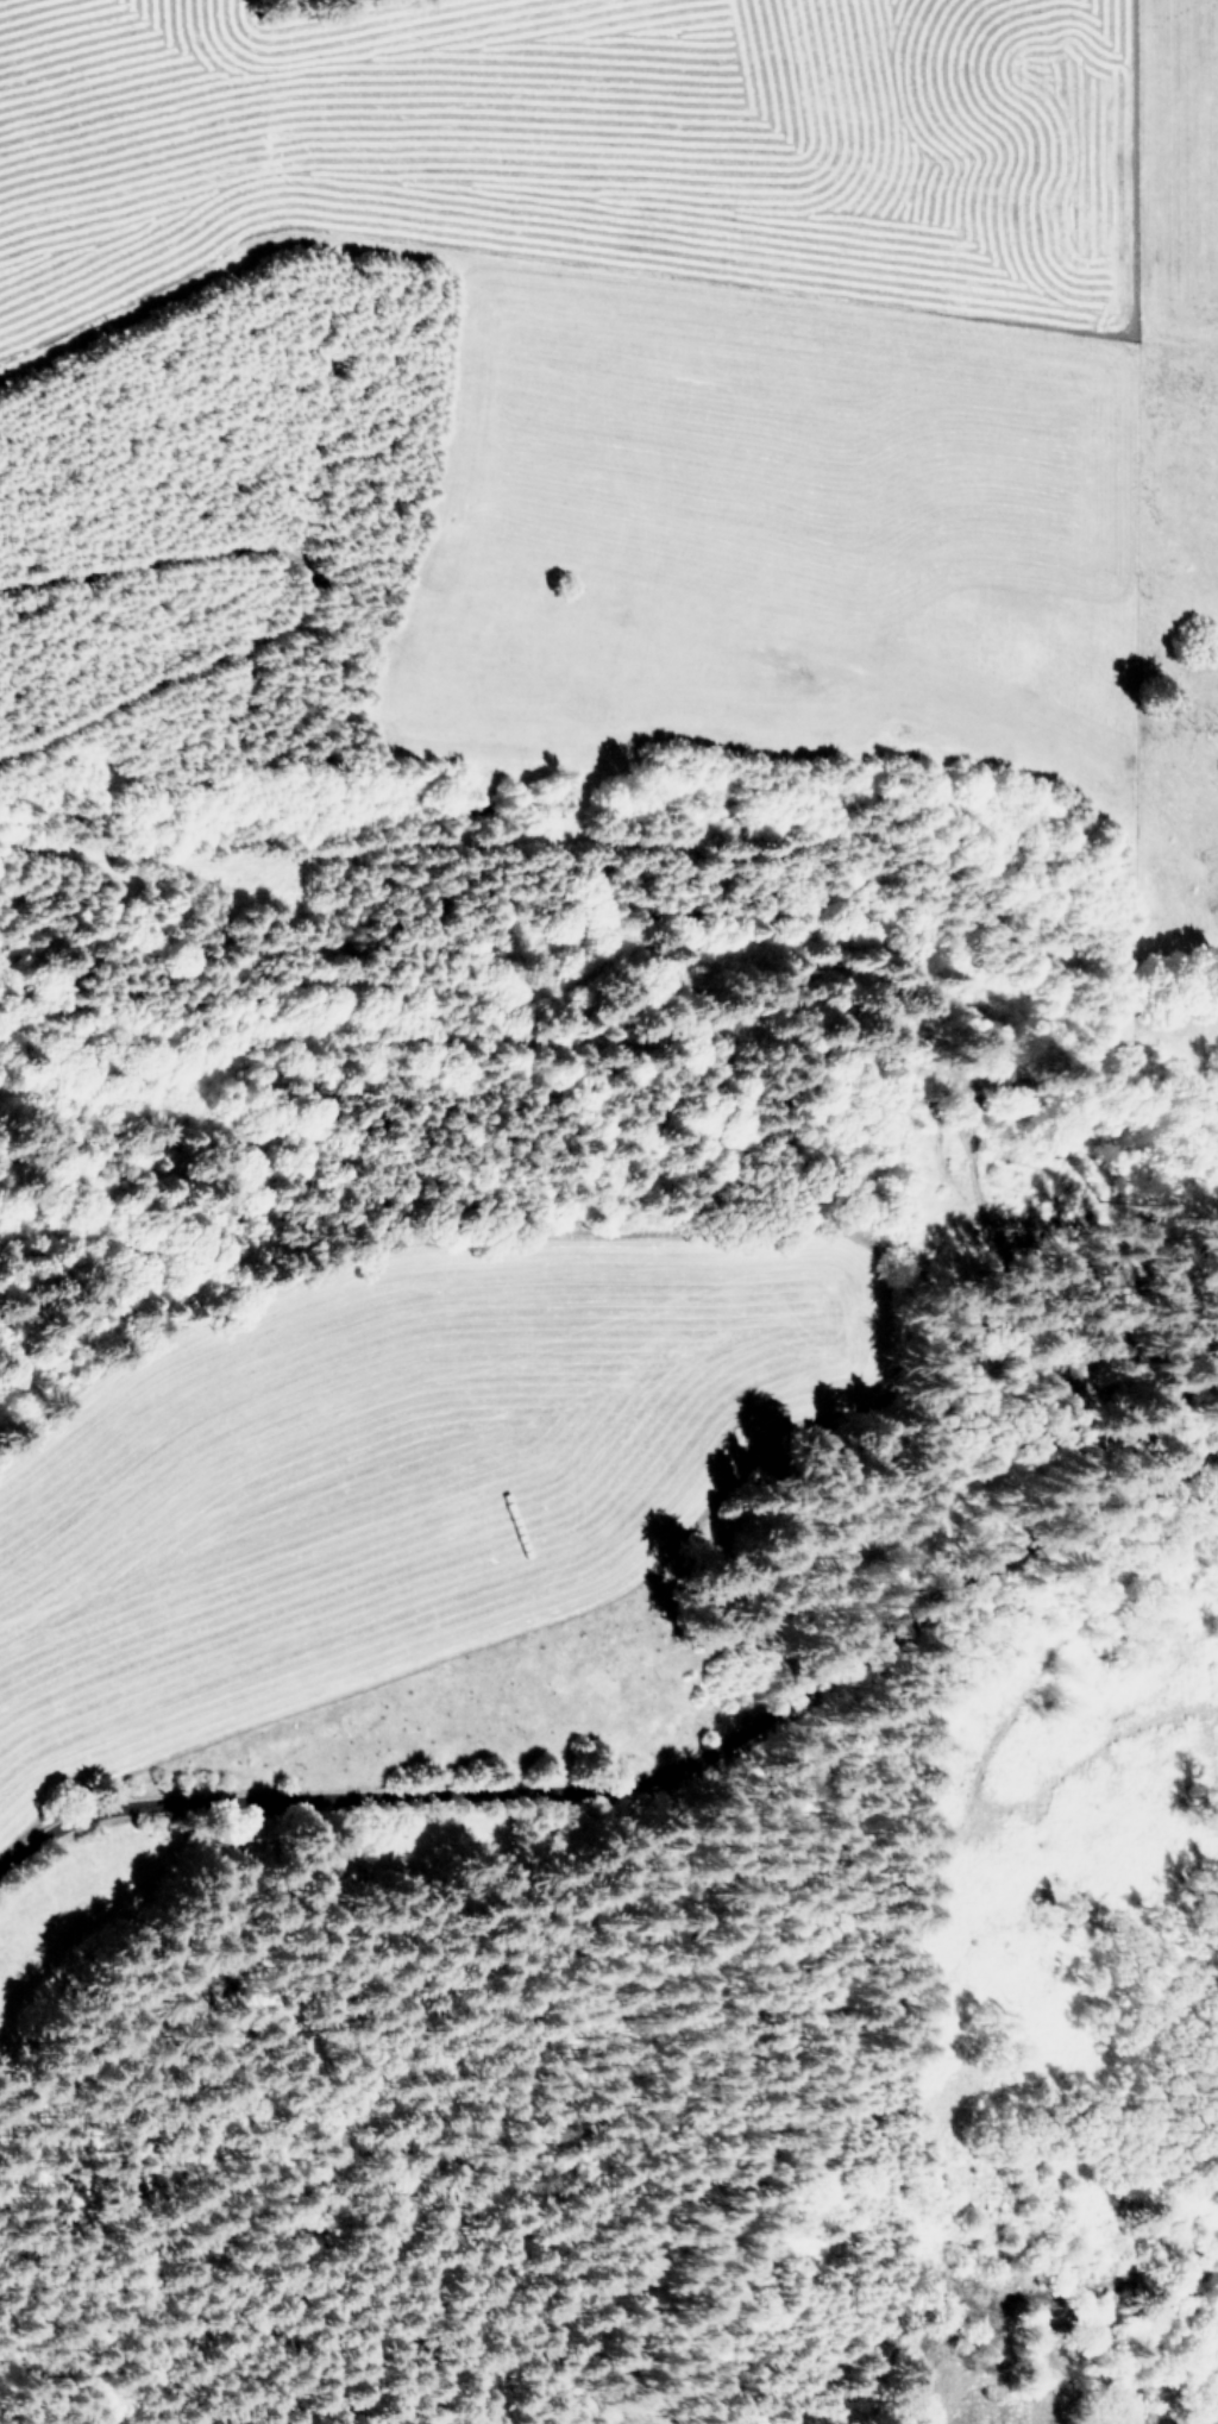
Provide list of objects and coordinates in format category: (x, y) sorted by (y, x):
crop: (717, 338)
road: (651, 1784)

